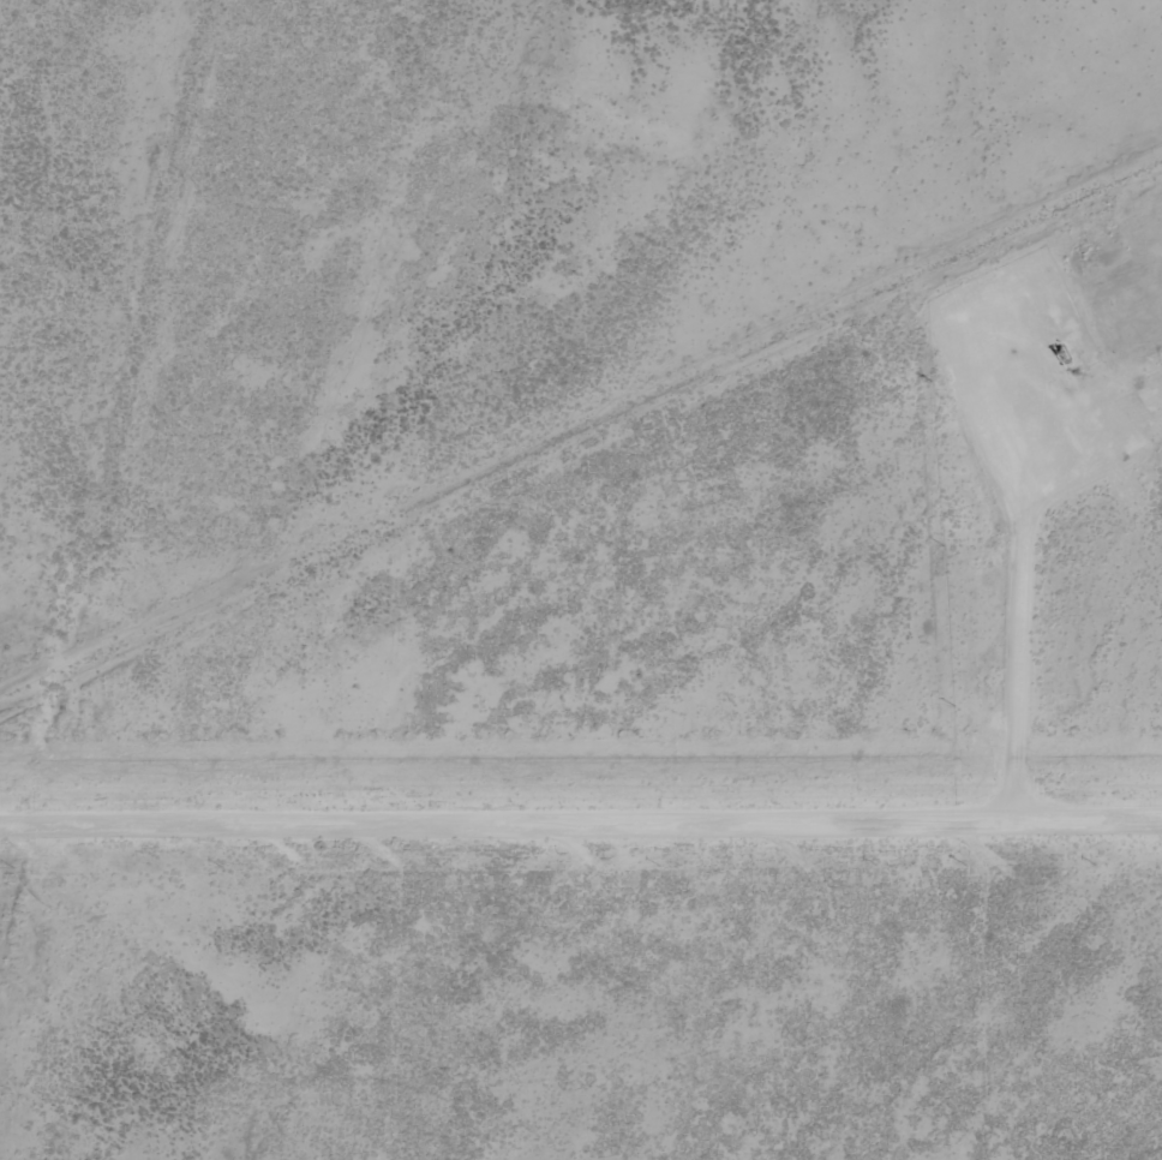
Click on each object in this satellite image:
road: (101, 429)
road: (581, 820)

